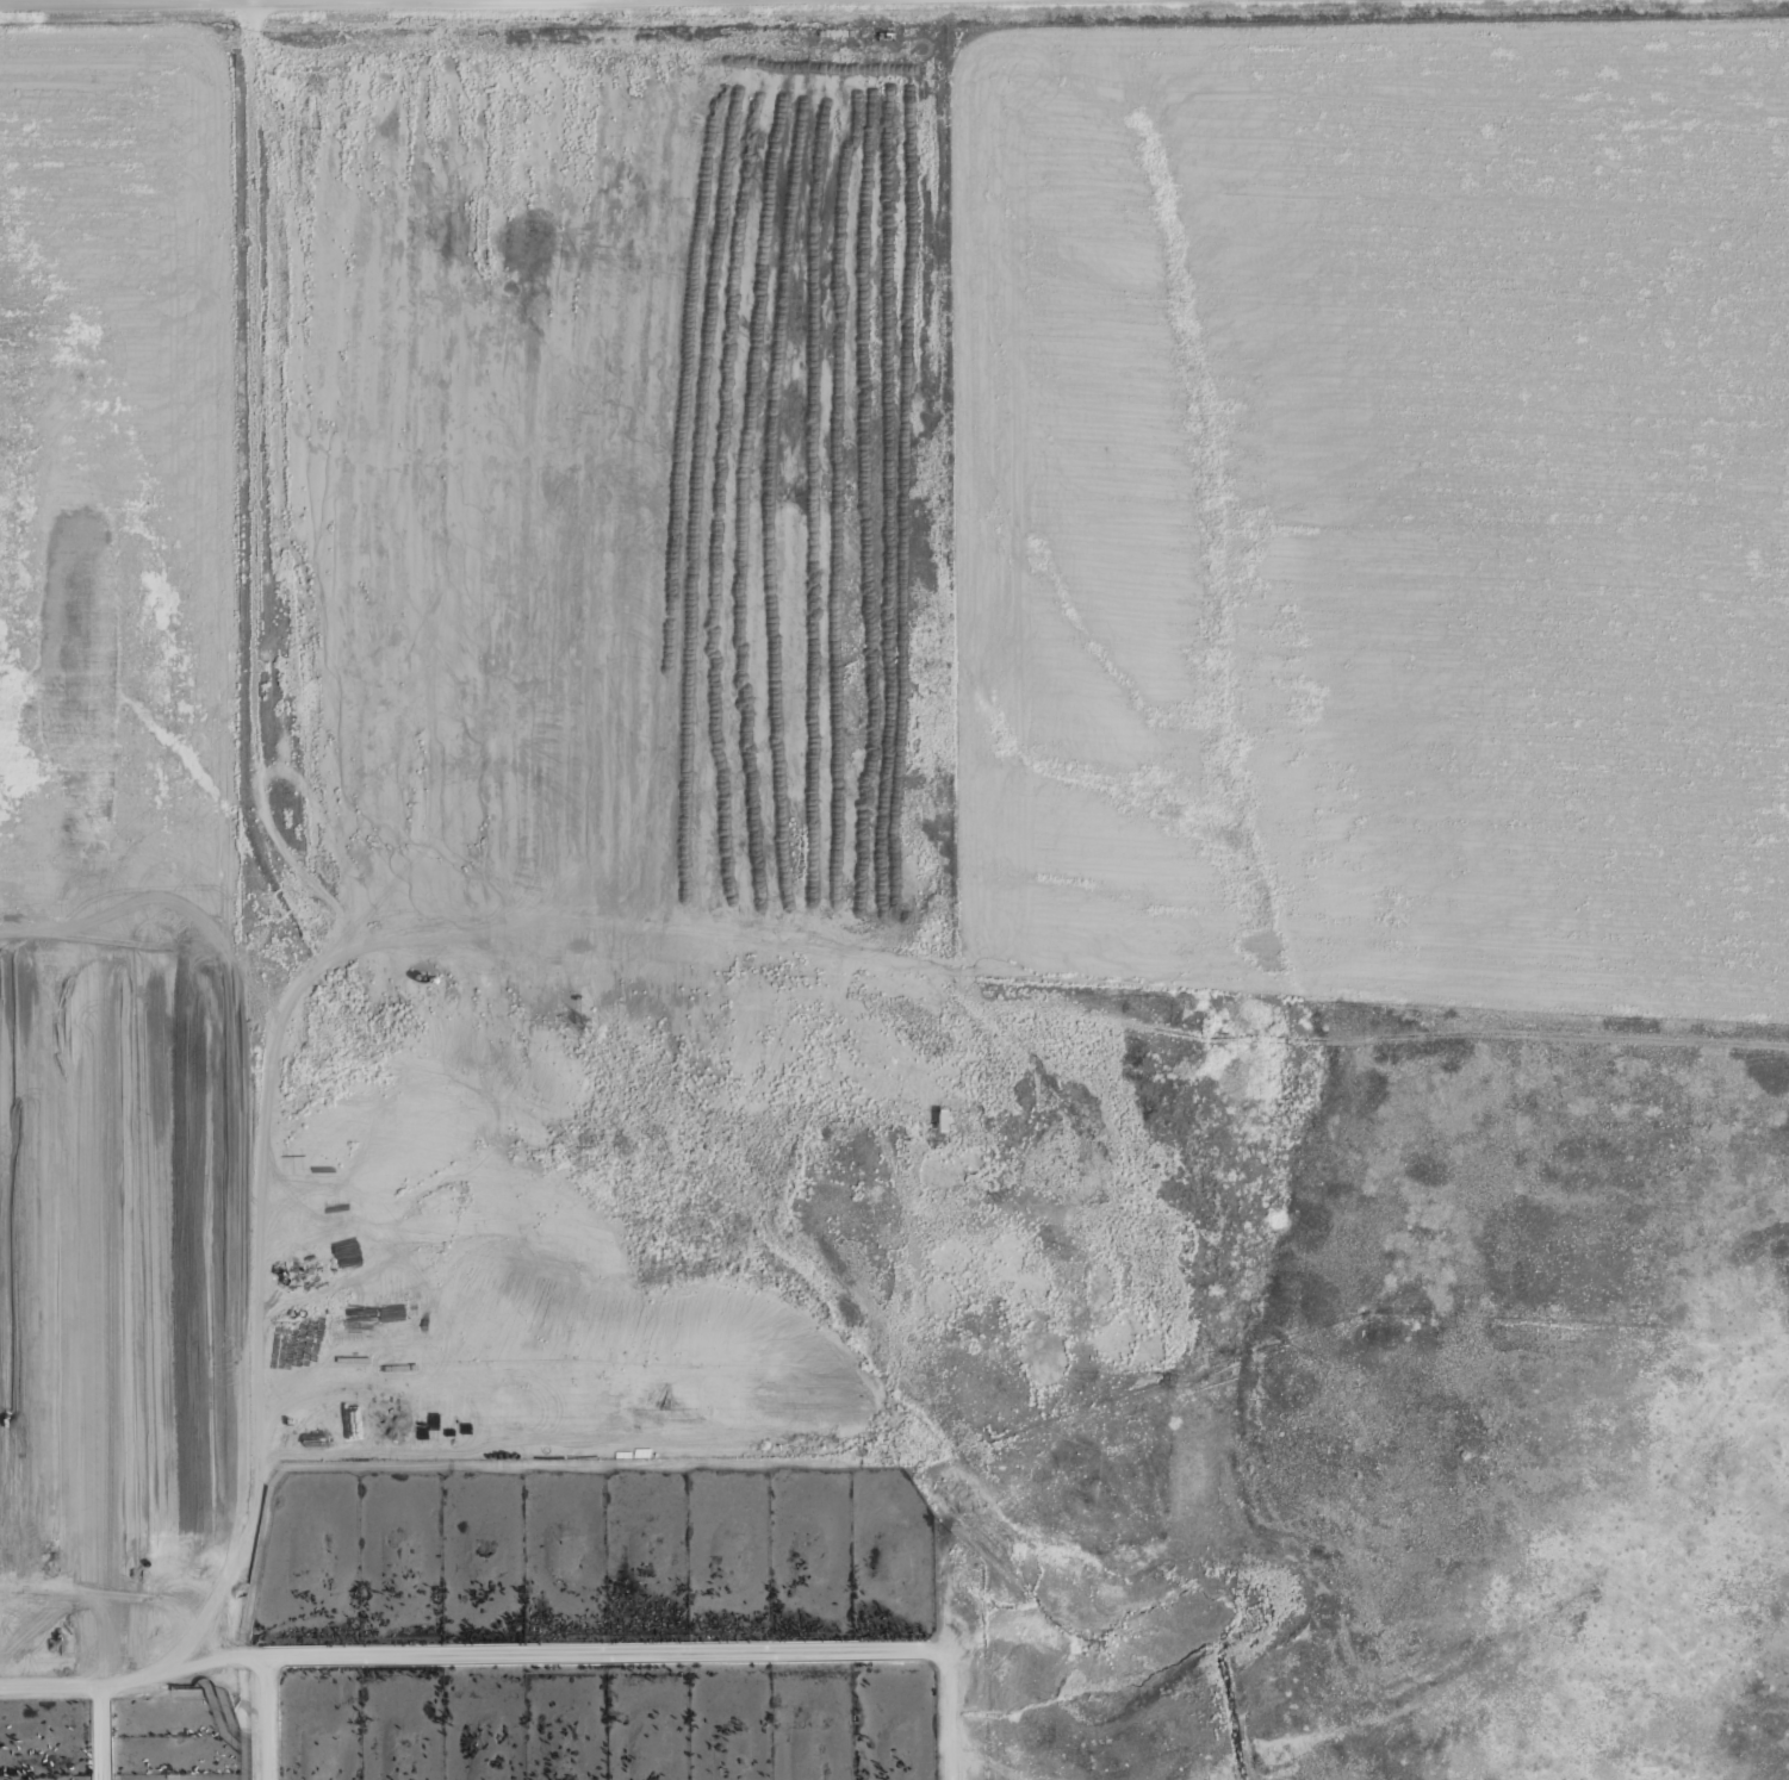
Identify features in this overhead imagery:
road: (329, 2)
crop: (521, 1586)
road: (58, 1707)

